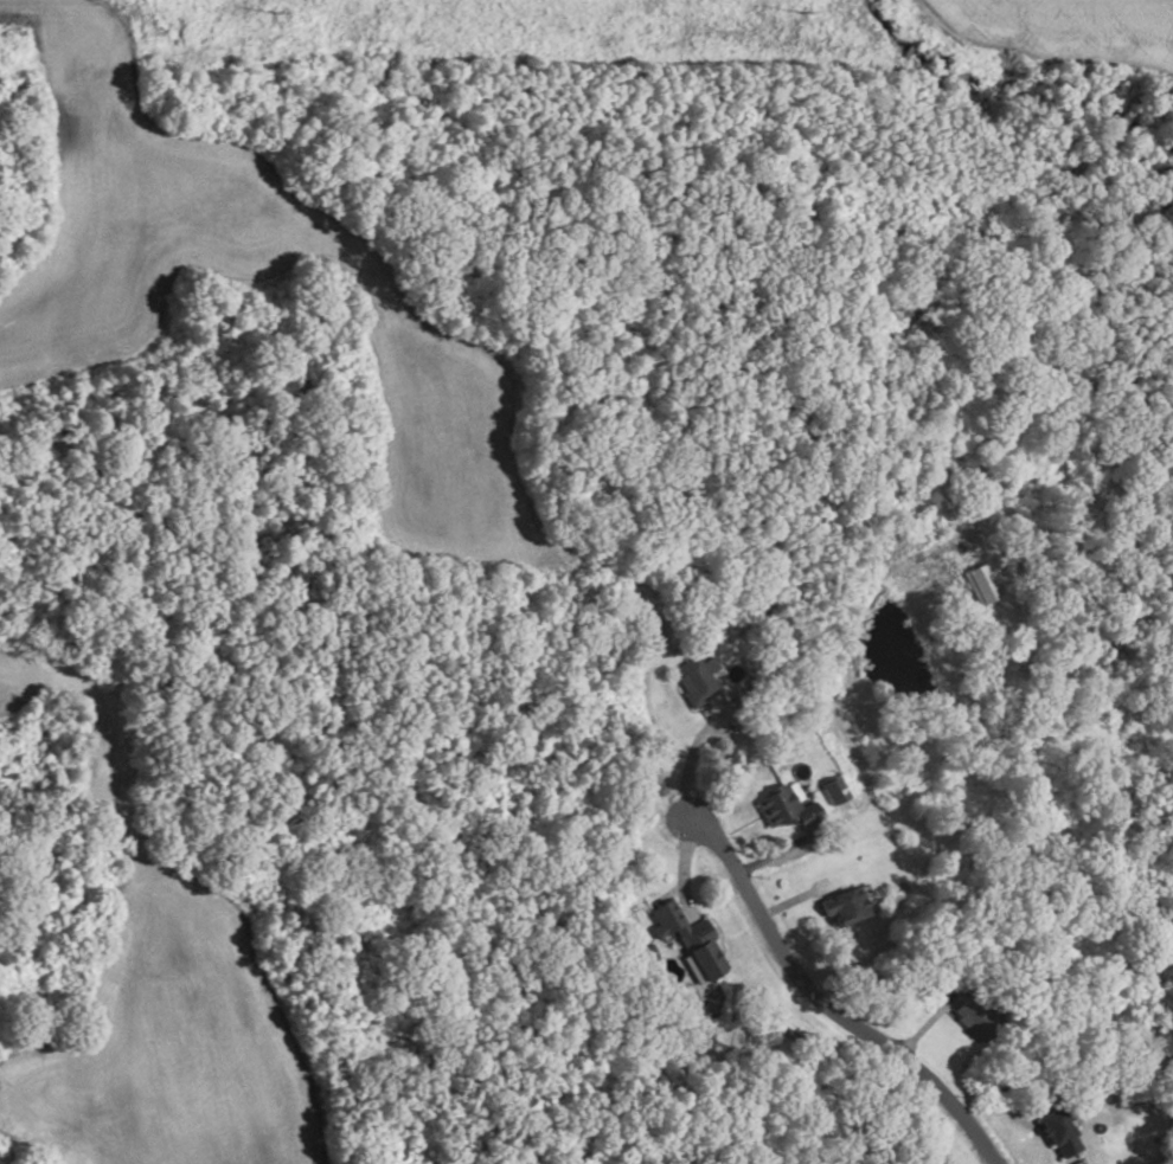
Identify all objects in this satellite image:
building: (982, 584)
road: (840, 649)
building: (694, 681)
road: (685, 764)
building: (833, 790)
building: (784, 810)
road: (735, 828)
road: (791, 845)
road: (679, 869)
road: (789, 901)
building: (847, 903)
building: (687, 937)
road: (822, 1003)
building: (974, 1020)
road: (923, 1023)
building: (1058, 1133)

